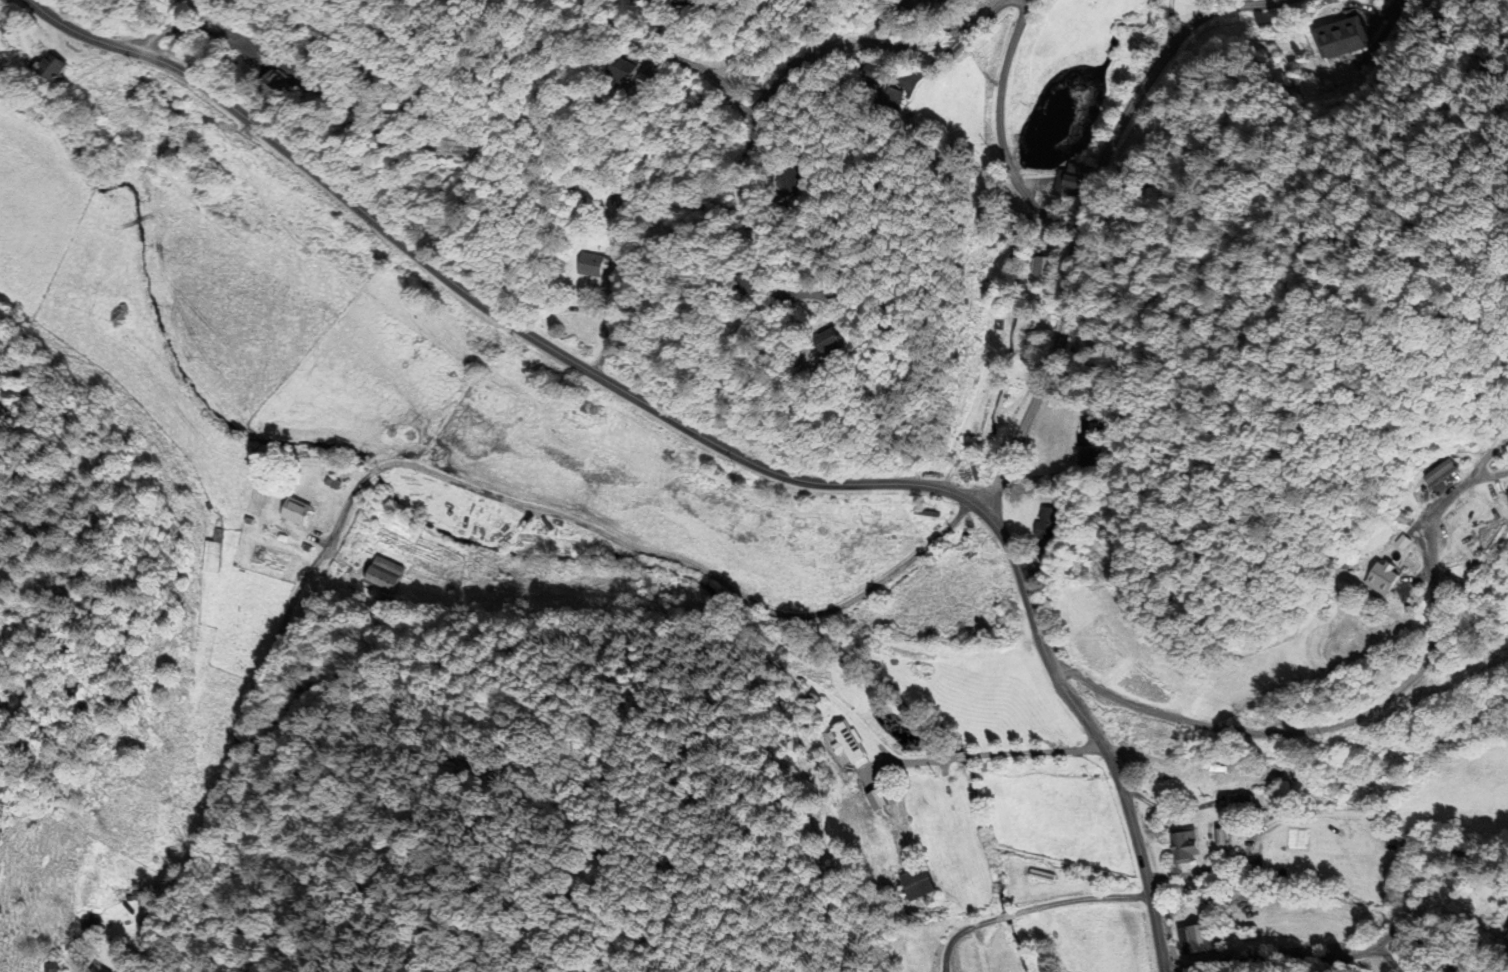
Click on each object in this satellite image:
building: (949, 1)
building: (689, 2)
road: (886, 20)
road: (186, 25)
road: (1167, 28)
building: (1328, 39)
road: (871, 45)
road: (939, 57)
road: (285, 63)
building: (54, 68)
building: (280, 82)
road: (755, 130)
road: (998, 131)
road: (1084, 216)
building: (1036, 268)
building: (592, 270)
road: (698, 434)
road: (374, 469)
building: (1440, 474)
building: (303, 511)
building: (1037, 525)
building: (214, 553)
road: (691, 565)
building: (388, 575)
building: (1377, 579)
road: (245, 708)
road: (1372, 710)
building: (848, 748)
road: (993, 753)
building: (1239, 812)
building: (1177, 846)
building: (1043, 875)
building: (920, 882)
road: (1081, 899)
road: (1004, 916)
building: (1503, 927)
road: (956, 934)
building: (1202, 939)
road: (1364, 951)
road: (1395, 958)
building: (50, 967)
building: (100, 969)

